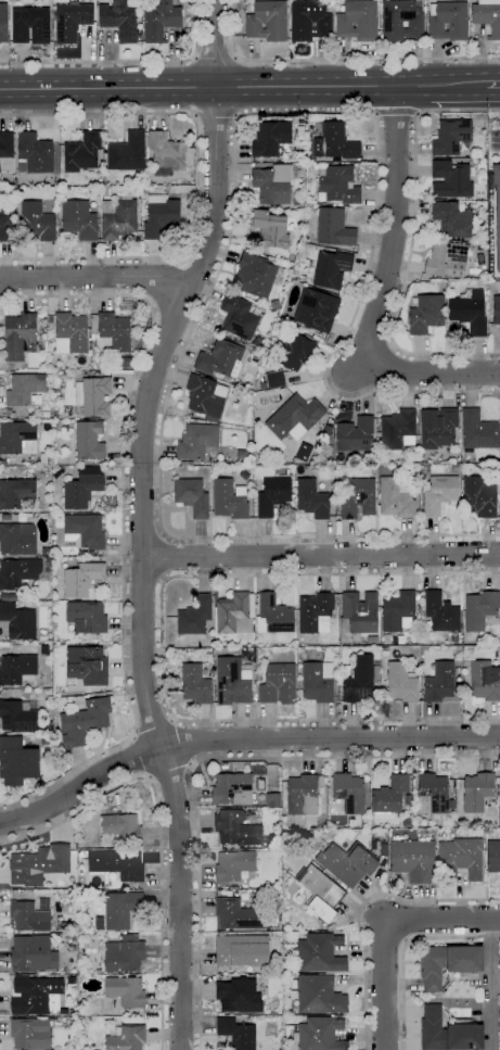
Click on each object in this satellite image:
building: (487, 16)
building: (161, 20)
building: (401, 20)
building: (72, 21)
building: (119, 21)
building: (267, 21)
building: (309, 21)
building: (358, 21)
building: (448, 21)
building: (3, 23)
building: (30, 25)
building: (189, 30)
road: (215, 56)
road: (339, 59)
road: (125, 62)
road: (492, 84)
road: (439, 85)
road: (195, 87)
road: (398, 114)
road: (216, 116)
building: (299, 128)
building: (451, 137)
building: (271, 139)
building: (335, 143)
building: (7, 151)
building: (82, 152)
building: (128, 152)
building: (34, 153)
building: (166, 153)
building: (450, 179)
road: (197, 180)
building: (272, 184)
building: (338, 184)
building: (148, 189)
building: (321, 197)
road: (234, 200)
building: (296, 200)
building: (322, 203)
building: (497, 206)
building: (309, 207)
building: (161, 216)
building: (118, 218)
building: (453, 218)
building: (79, 219)
building: (37, 222)
building: (5, 225)
building: (334, 228)
road: (393, 228)
building: (270, 229)
road: (411, 244)
building: (482, 246)
building: (261, 251)
building: (447, 260)
road: (200, 262)
building: (331, 269)
building: (254, 276)
road: (95, 278)
road: (148, 278)
building: (238, 292)
building: (496, 309)
building: (316, 311)
building: (470, 313)
building: (426, 314)
road: (175, 315)
building: (238, 317)
building: (115, 331)
building: (70, 333)
building: (20, 336)
building: (318, 339)
building: (295, 352)
building: (219, 358)
building: (123, 362)
building: (11, 366)
road: (432, 371)
building: (89, 374)
building: (275, 379)
building: (262, 385)
building: (281, 388)
building: (24, 389)
building: (93, 395)
building: (206, 397)
building: (295, 417)
building: (253, 421)
building: (438, 428)
building: (398, 430)
building: (478, 431)
building: (355, 434)
building: (17, 438)
building: (89, 441)
building: (196, 441)
building: (302, 453)
building: (351, 455)
building: (187, 464)
building: (310, 467)
building: (297, 470)
building: (82, 488)
building: (15, 493)
building: (439, 494)
building: (273, 495)
building: (192, 497)
building: (479, 497)
building: (358, 498)
building: (396, 498)
building: (229, 499)
building: (311, 499)
building: (499, 508)
road: (124, 515)
building: (5, 518)
building: (23, 518)
road: (141, 520)
road: (142, 526)
building: (84, 531)
building: (17, 540)
building: (82, 553)
building: (91, 554)
road: (321, 556)
road: (165, 557)
building: (48, 561)
building: (18, 573)
road: (144, 578)
building: (81, 580)
building: (8, 597)
building: (22, 605)
building: (43, 609)
building: (480, 609)
building: (397, 610)
building: (315, 611)
building: (234, 612)
building: (440, 612)
building: (359, 613)
building: (273, 616)
building: (87, 617)
building: (195, 617)
building: (18, 621)
building: (223, 638)
building: (216, 642)
road: (163, 644)
building: (244, 650)
building: (195, 655)
building: (311, 655)
building: (87, 666)
building: (17, 669)
building: (254, 673)
building: (376, 673)
building: (358, 680)
building: (485, 681)
building: (233, 682)
building: (317, 682)
building: (439, 682)
building: (400, 683)
building: (195, 684)
building: (279, 684)
building: (14, 693)
building: (78, 701)
building: (18, 714)
road: (153, 721)
building: (84, 722)
building: (56, 738)
building: (11, 739)
road: (241, 739)
road: (189, 743)
road: (140, 757)
road: (204, 760)
building: (18, 763)
building: (225, 766)
road: (170, 775)
building: (260, 785)
building: (232, 789)
building: (451, 789)
building: (434, 792)
building: (477, 792)
building: (349, 793)
building: (303, 797)
building: (389, 798)
building: (408, 799)
building: (103, 804)
building: (323, 811)
building: (407, 822)
building: (235, 828)
building: (119, 830)
road: (159, 832)
building: (492, 856)
building: (461, 858)
building: (412, 860)
building: (347, 863)
building: (39, 865)
building: (117, 865)
building: (233, 865)
building: (236, 887)
building: (319, 893)
road: (362, 908)
building: (119, 910)
building: (239, 915)
building: (28, 916)
road: (385, 931)
building: (74, 937)
road: (405, 949)
building: (241, 950)
building: (33, 953)
building: (124, 953)
building: (318, 953)
building: (448, 963)
building: (90, 967)
building: (287, 970)
building: (98, 972)
road: (489, 983)
building: (125, 991)
building: (36, 995)
building: (236, 995)
building: (318, 995)
building: (279, 1003)
building: (82, 1021)
building: (449, 1032)
building: (30, 1034)
building: (236, 1034)
building: (319, 1034)
building: (127, 1038)

